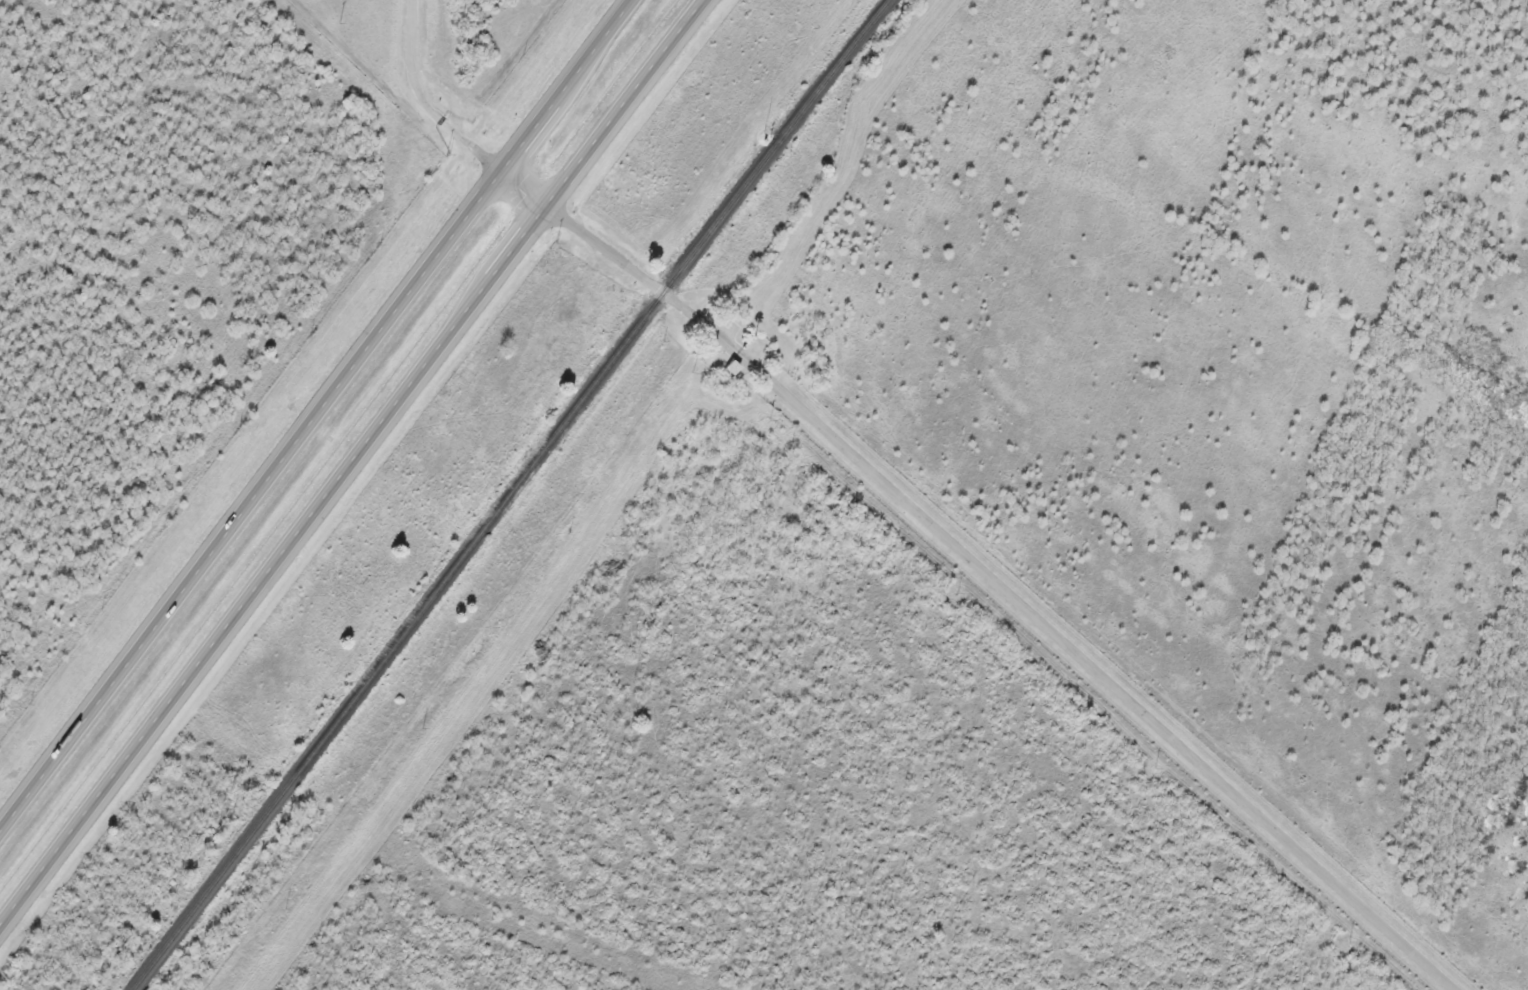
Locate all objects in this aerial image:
road: (442, 122)
road: (319, 419)
road: (359, 470)
railway: (510, 493)
road: (1001, 589)

